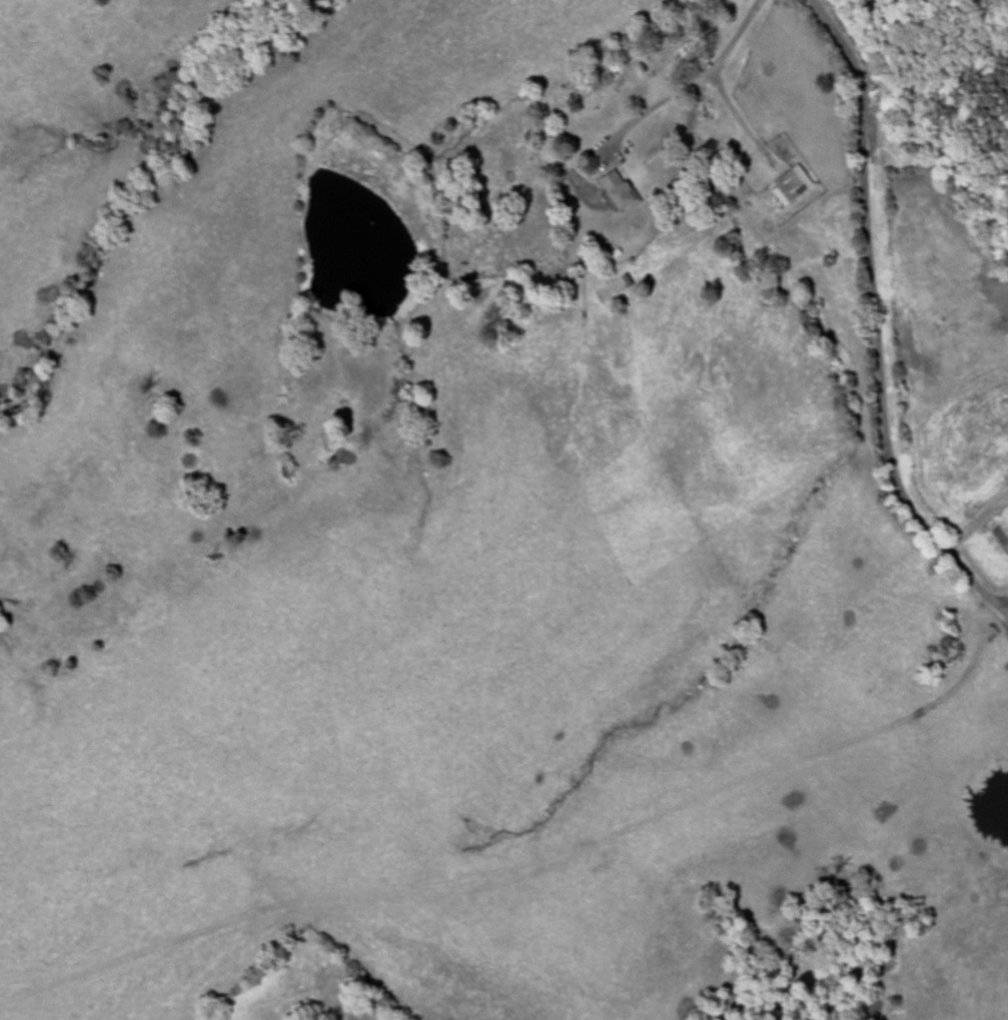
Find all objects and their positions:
building: (790, 187)
building: (615, 193)
road: (878, 322)
road: (749, 666)

